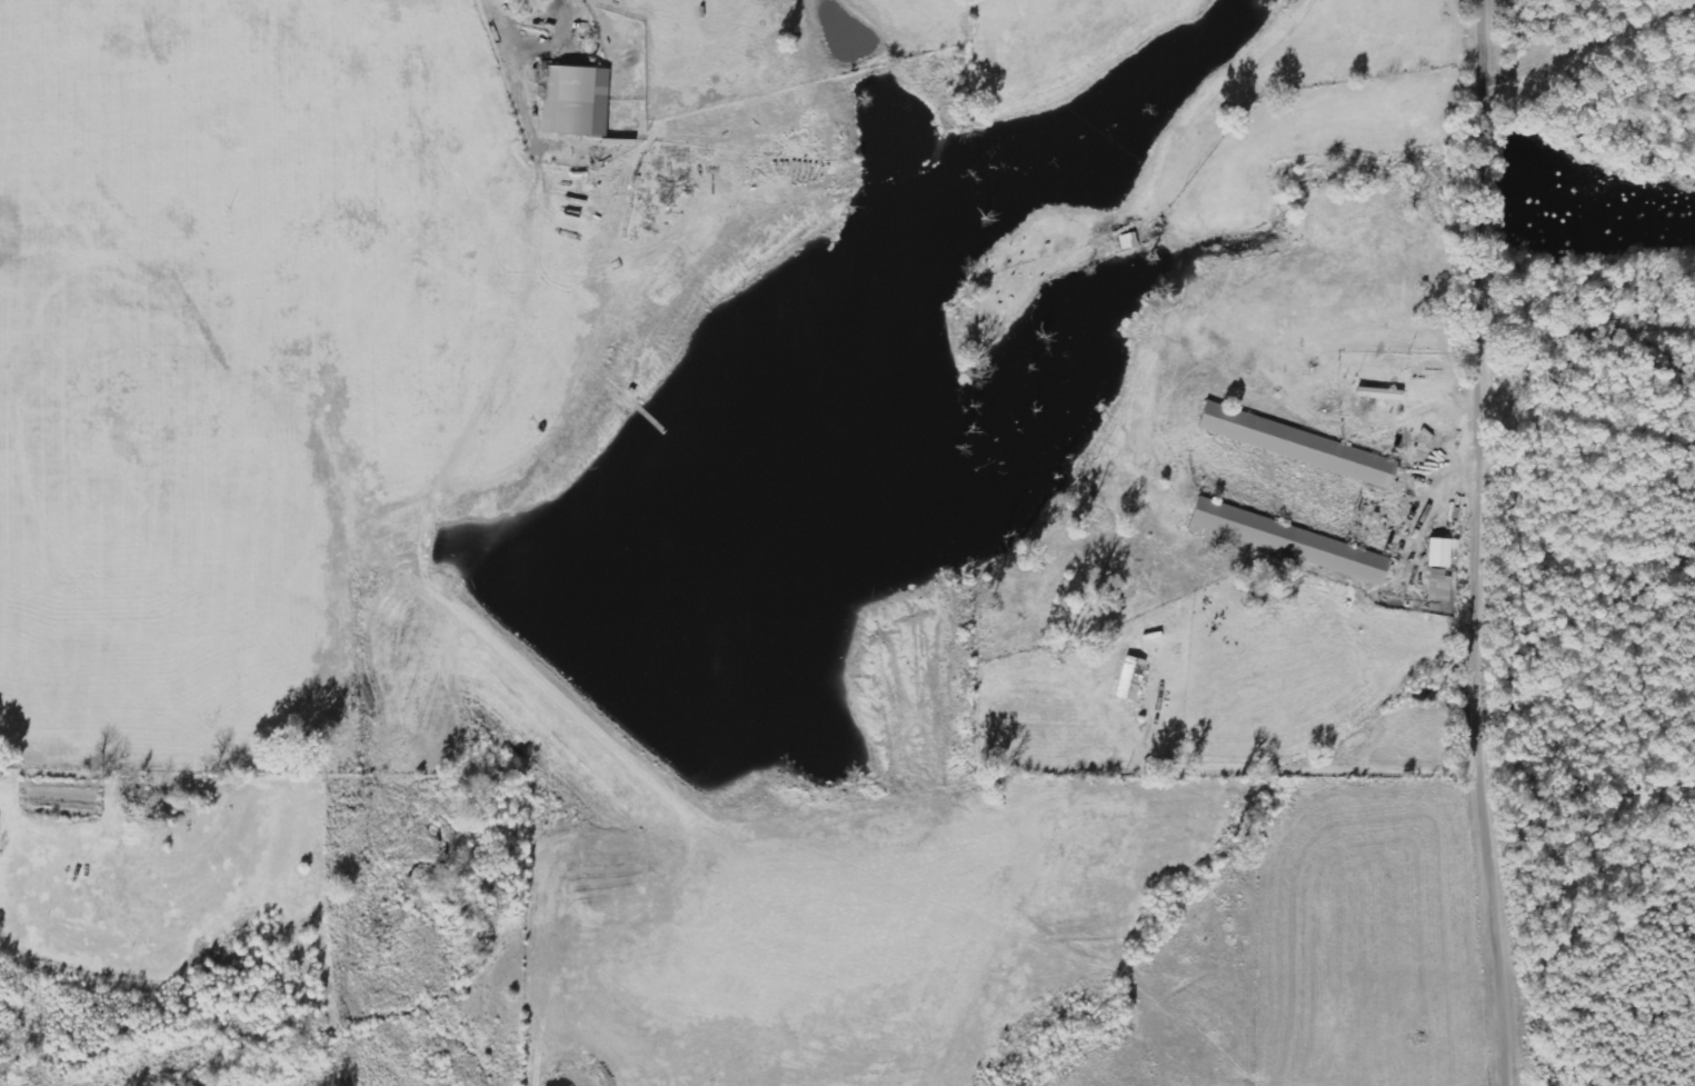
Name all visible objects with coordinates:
building: (544, 0)
building: (572, 100)
building: (1376, 393)
building: (1295, 445)
building: (1284, 541)
road: (1487, 542)
building: (1436, 552)
building: (1436, 585)
building: (1128, 679)

